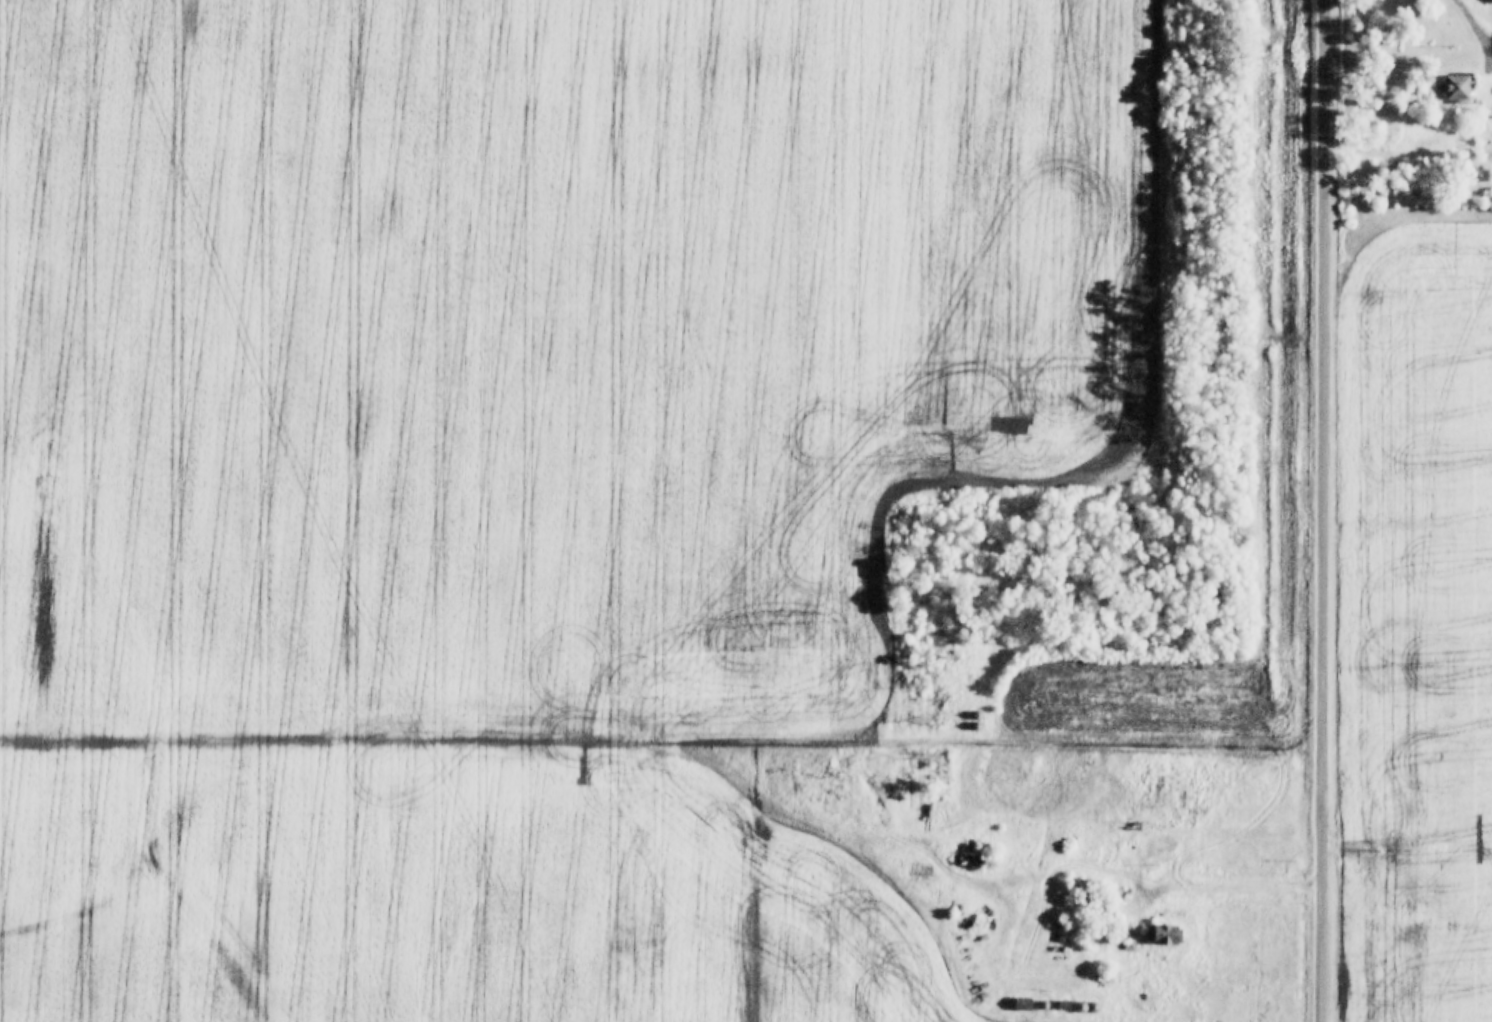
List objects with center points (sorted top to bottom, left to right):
road: (1477, 23)
road: (1323, 438)
road: (1226, 886)
road: (1322, 949)

